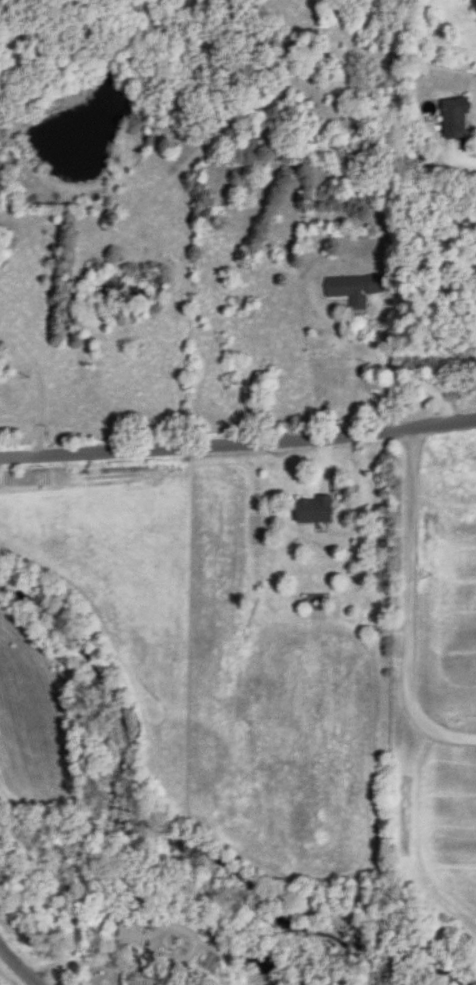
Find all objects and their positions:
building: (453, 116)
road: (460, 151)
building: (353, 287)
road: (390, 371)
road: (238, 447)
building: (312, 508)
road: (17, 968)
building: (141, 976)

